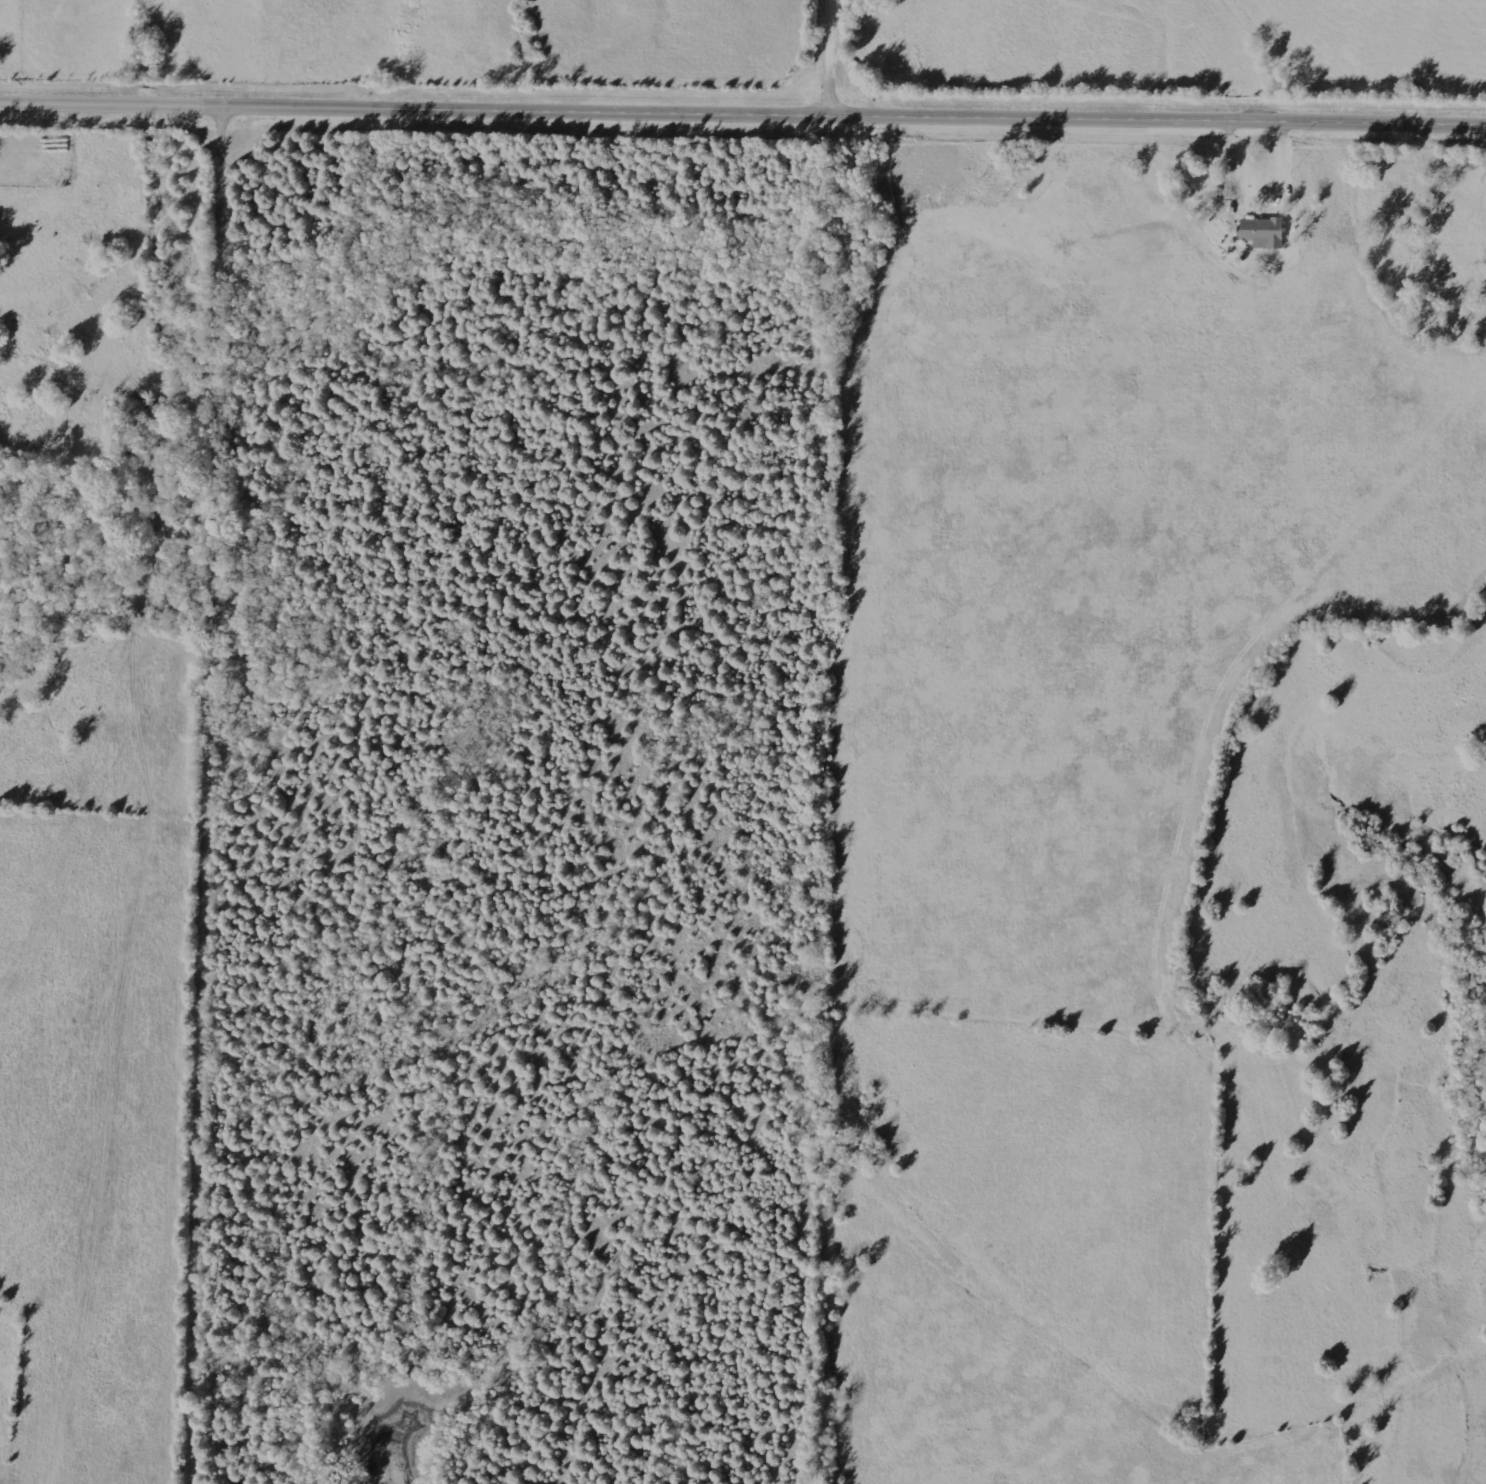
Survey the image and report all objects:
road: (824, 57)
road: (743, 110)
building: (1262, 233)
road: (188, 793)

